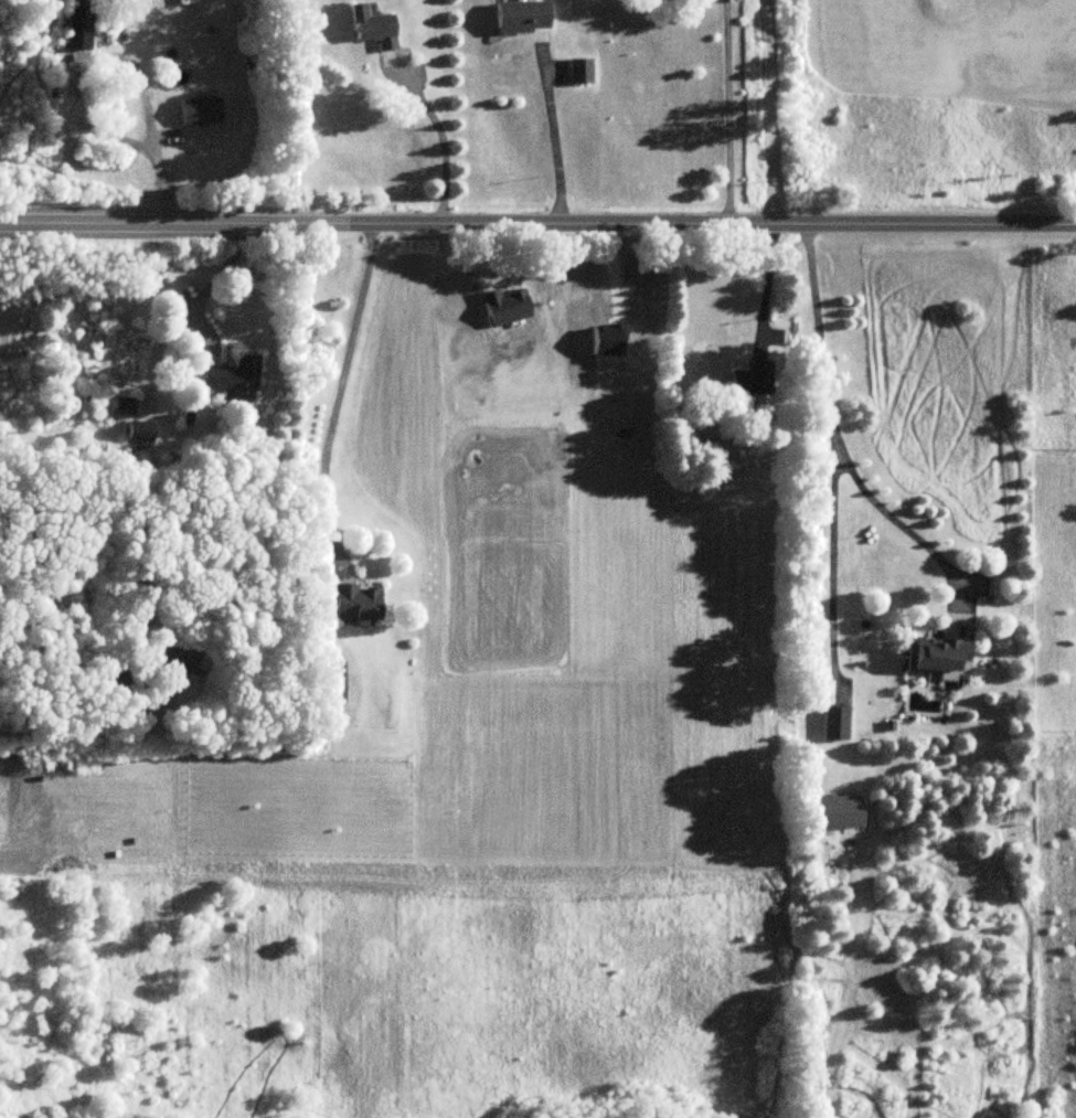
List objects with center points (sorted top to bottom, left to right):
building: (519, 18)
building: (76, 25)
building: (367, 29)
road: (115, 55)
building: (577, 72)
park: (924, 95)
building: (195, 111)
road: (768, 111)
road: (726, 113)
road: (552, 140)
road: (440, 146)
road: (537, 225)
road: (761, 285)
building: (232, 379)
building: (748, 380)
road: (339, 387)
building: (119, 408)
building: (138, 433)
road: (834, 437)
road: (831, 561)
building: (352, 604)
crop: (488, 636)
building: (936, 658)
building: (329, 684)
building: (833, 725)
road: (89, 733)
building: (834, 813)

